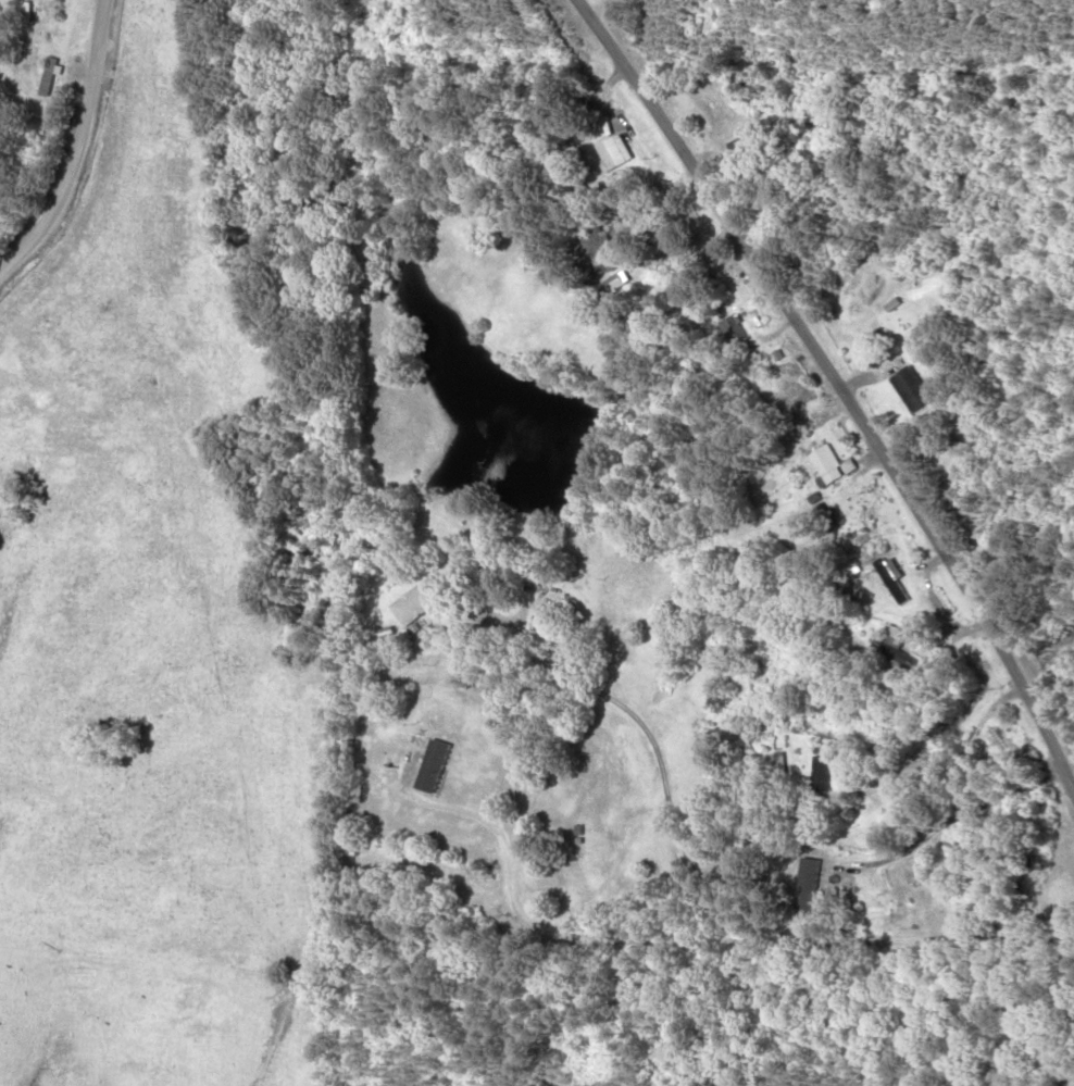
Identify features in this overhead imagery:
building: (49, 77)
road: (46, 137)
building: (739, 147)
building: (613, 152)
building: (596, 247)
building: (730, 328)
building: (909, 389)
road: (829, 411)
building: (827, 464)
building: (881, 582)
building: (416, 600)
building: (549, 620)
building: (891, 646)
building: (716, 700)
building: (820, 774)
building: (811, 881)
road: (721, 918)
building: (1070, 1081)

